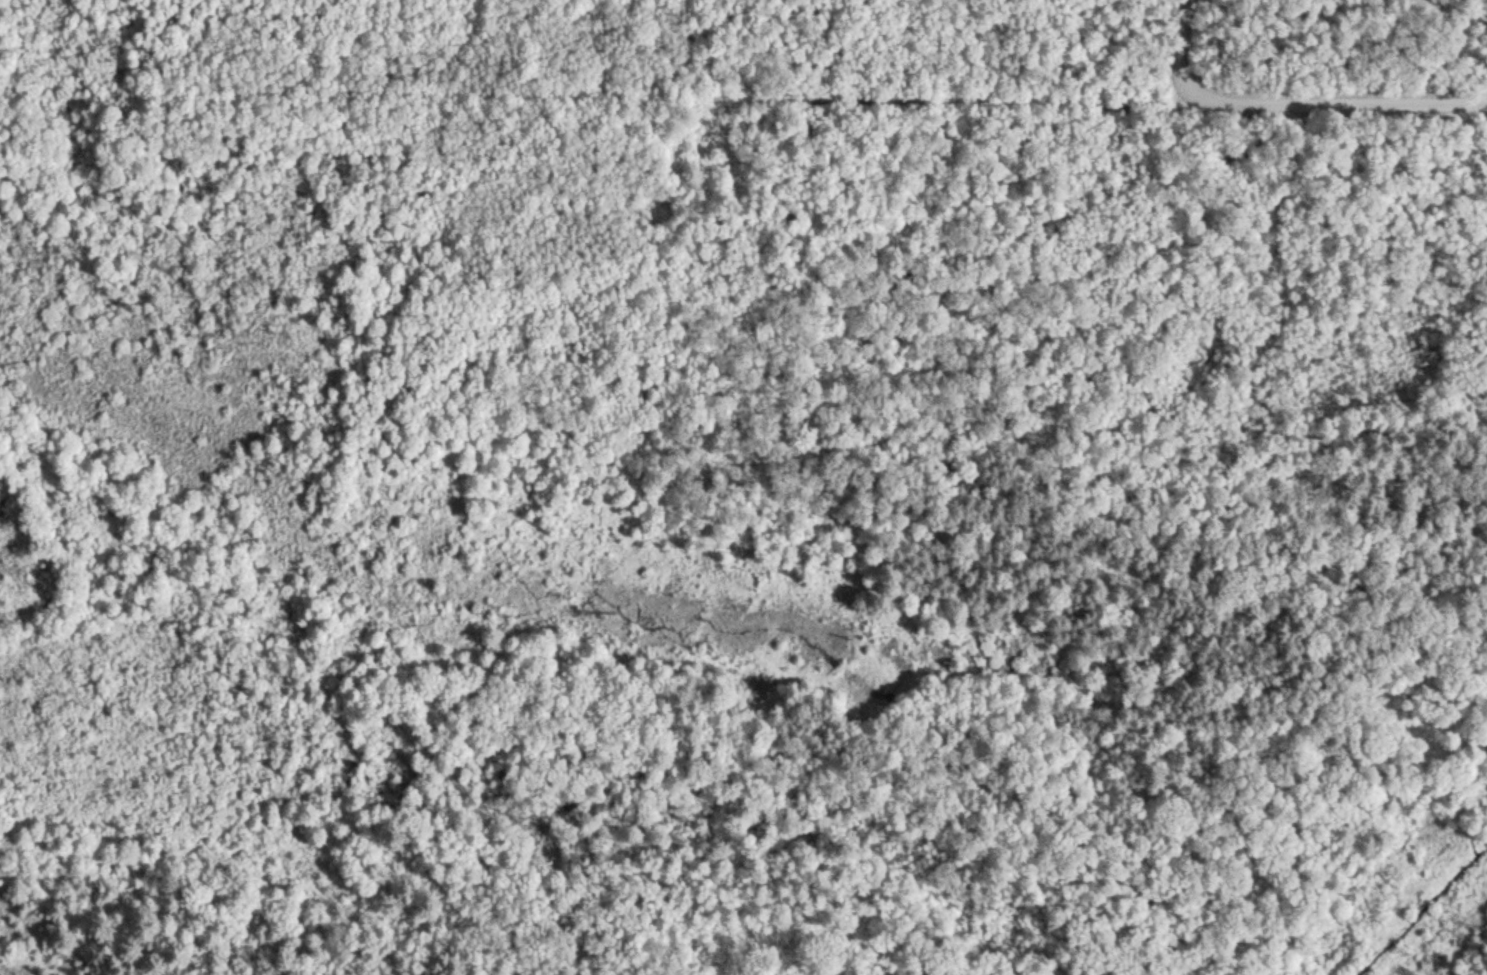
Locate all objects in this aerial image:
road: (1452, 9)
road: (1179, 57)
road: (1349, 99)

